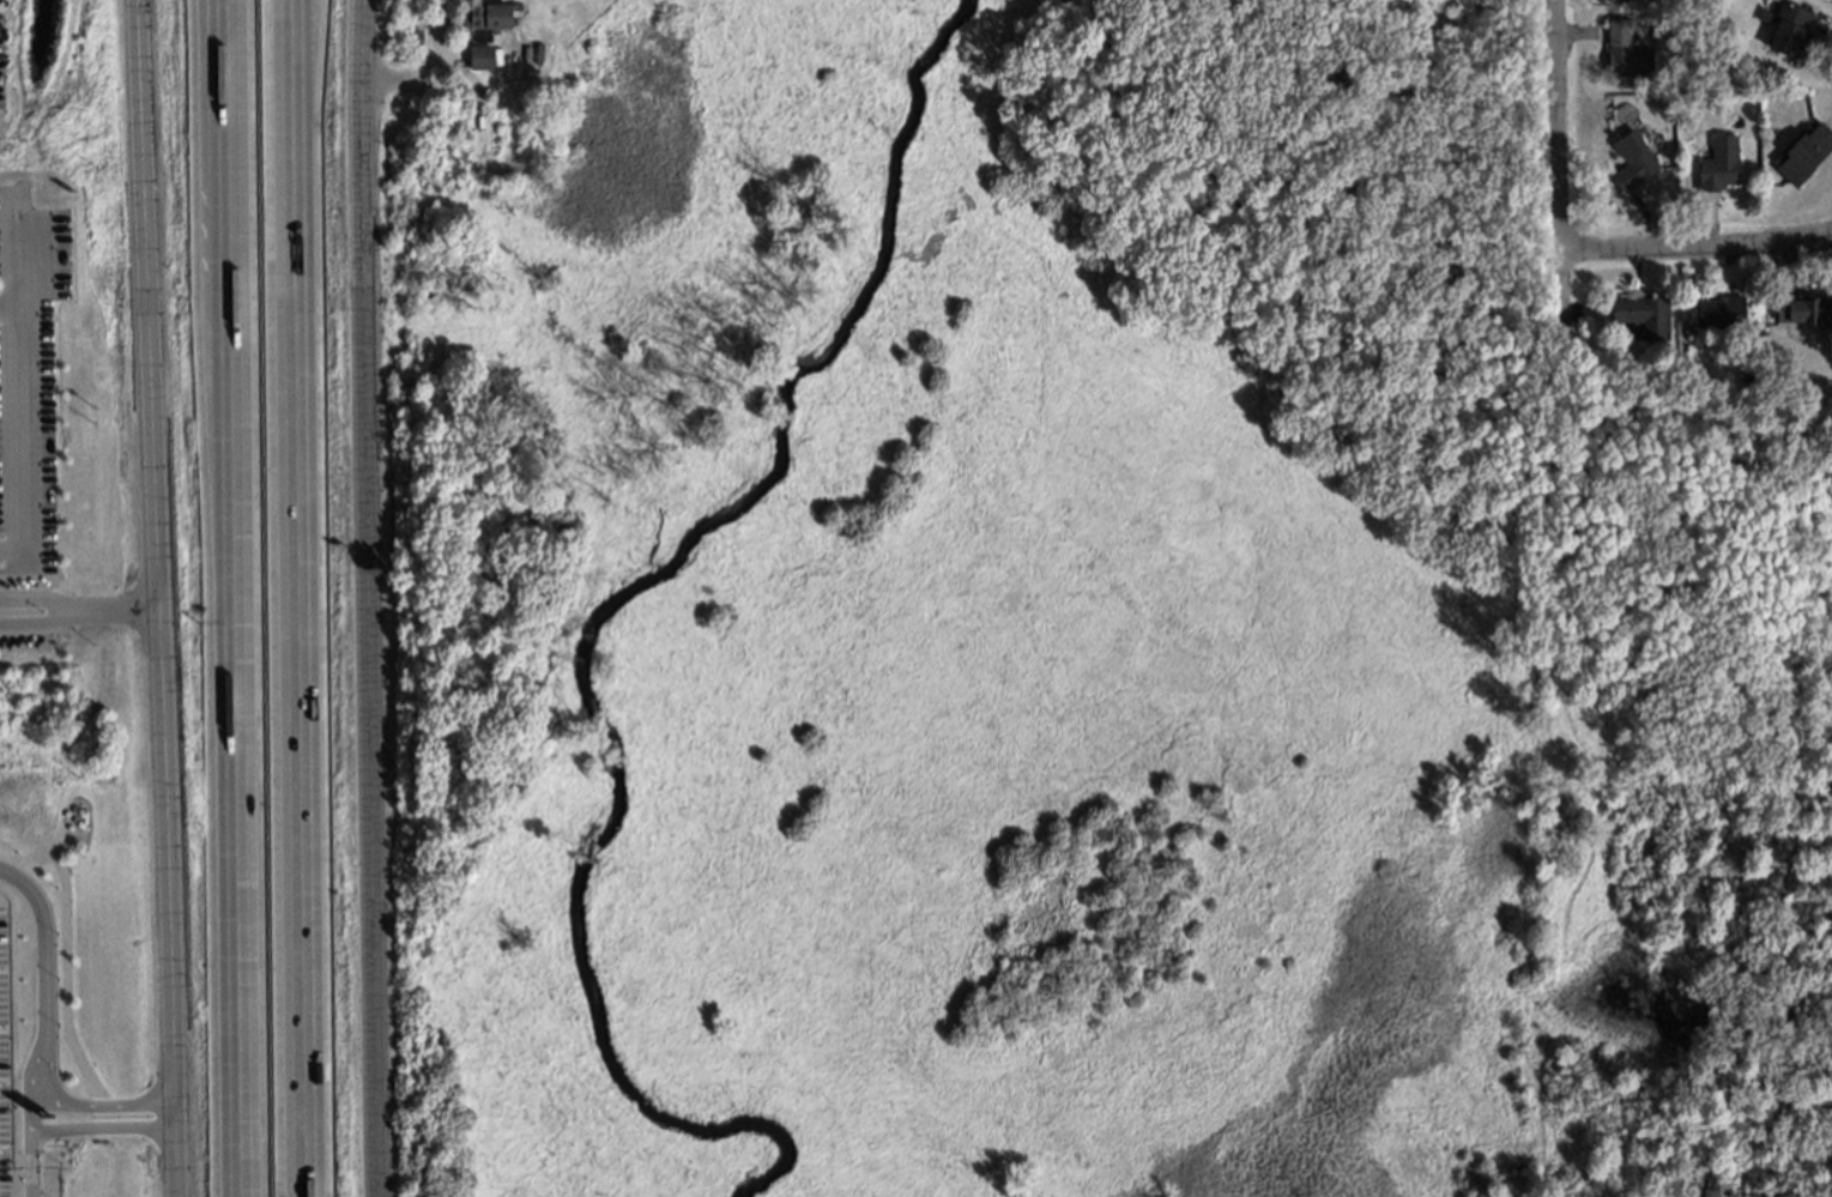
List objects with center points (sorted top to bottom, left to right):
building: (484, 19)
building: (1783, 25)
building: (1622, 50)
building: (477, 55)
building: (508, 55)
road: (424, 56)
building: (1663, 101)
building: (1801, 150)
building: (1628, 159)
building: (1715, 162)
road: (1562, 163)
road: (1699, 237)
building: (1801, 307)
building: (1717, 312)
building: (1640, 313)
road: (17, 430)
road: (164, 598)
road: (234, 598)
road: (294, 598)
road: (380, 598)
road: (83, 619)
road: (41, 955)
road: (92, 1102)
road: (65, 1129)
road: (25, 1161)

